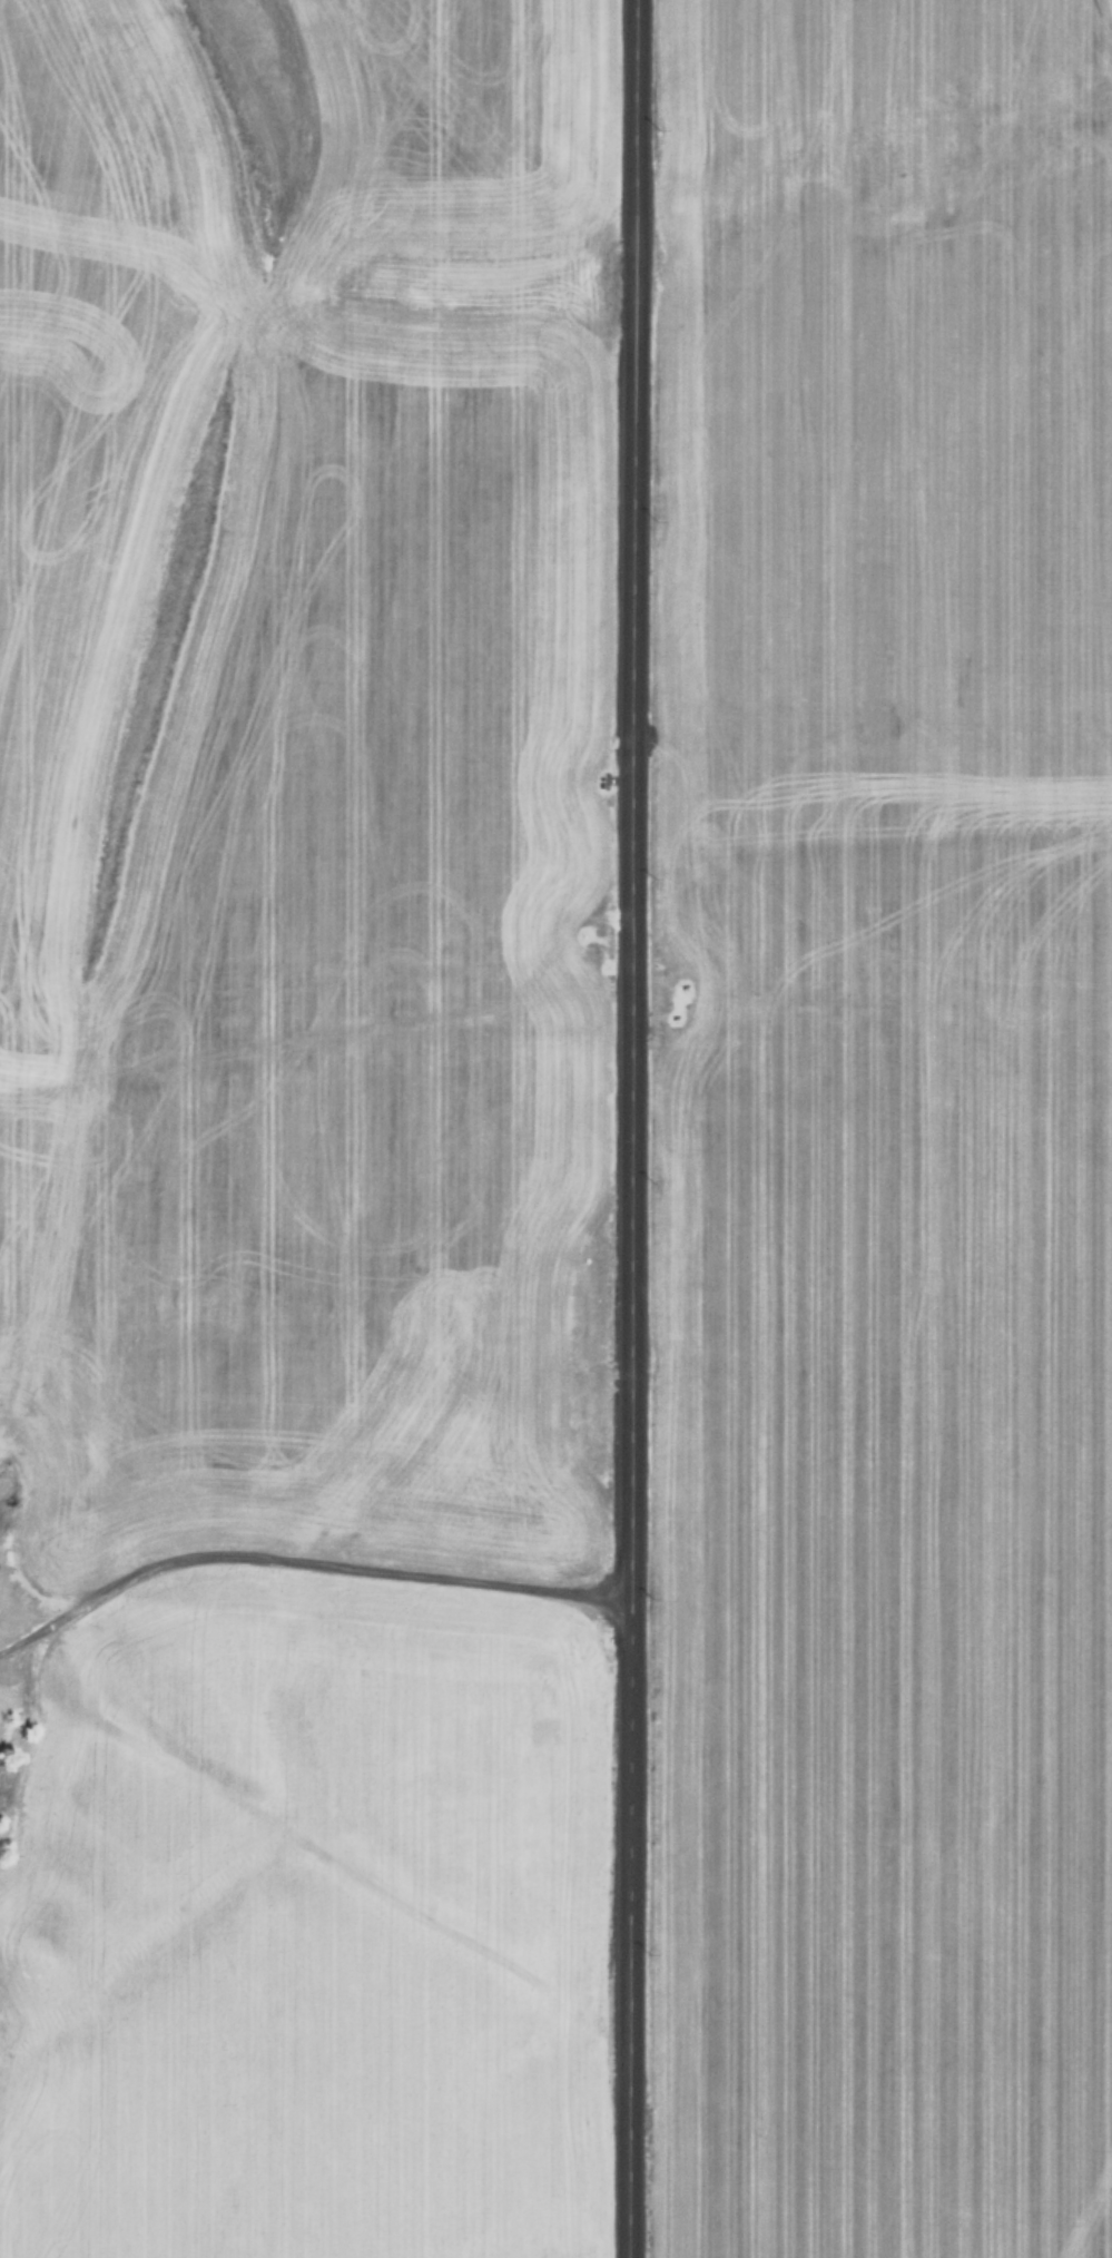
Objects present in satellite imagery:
road: (627, 1128)

